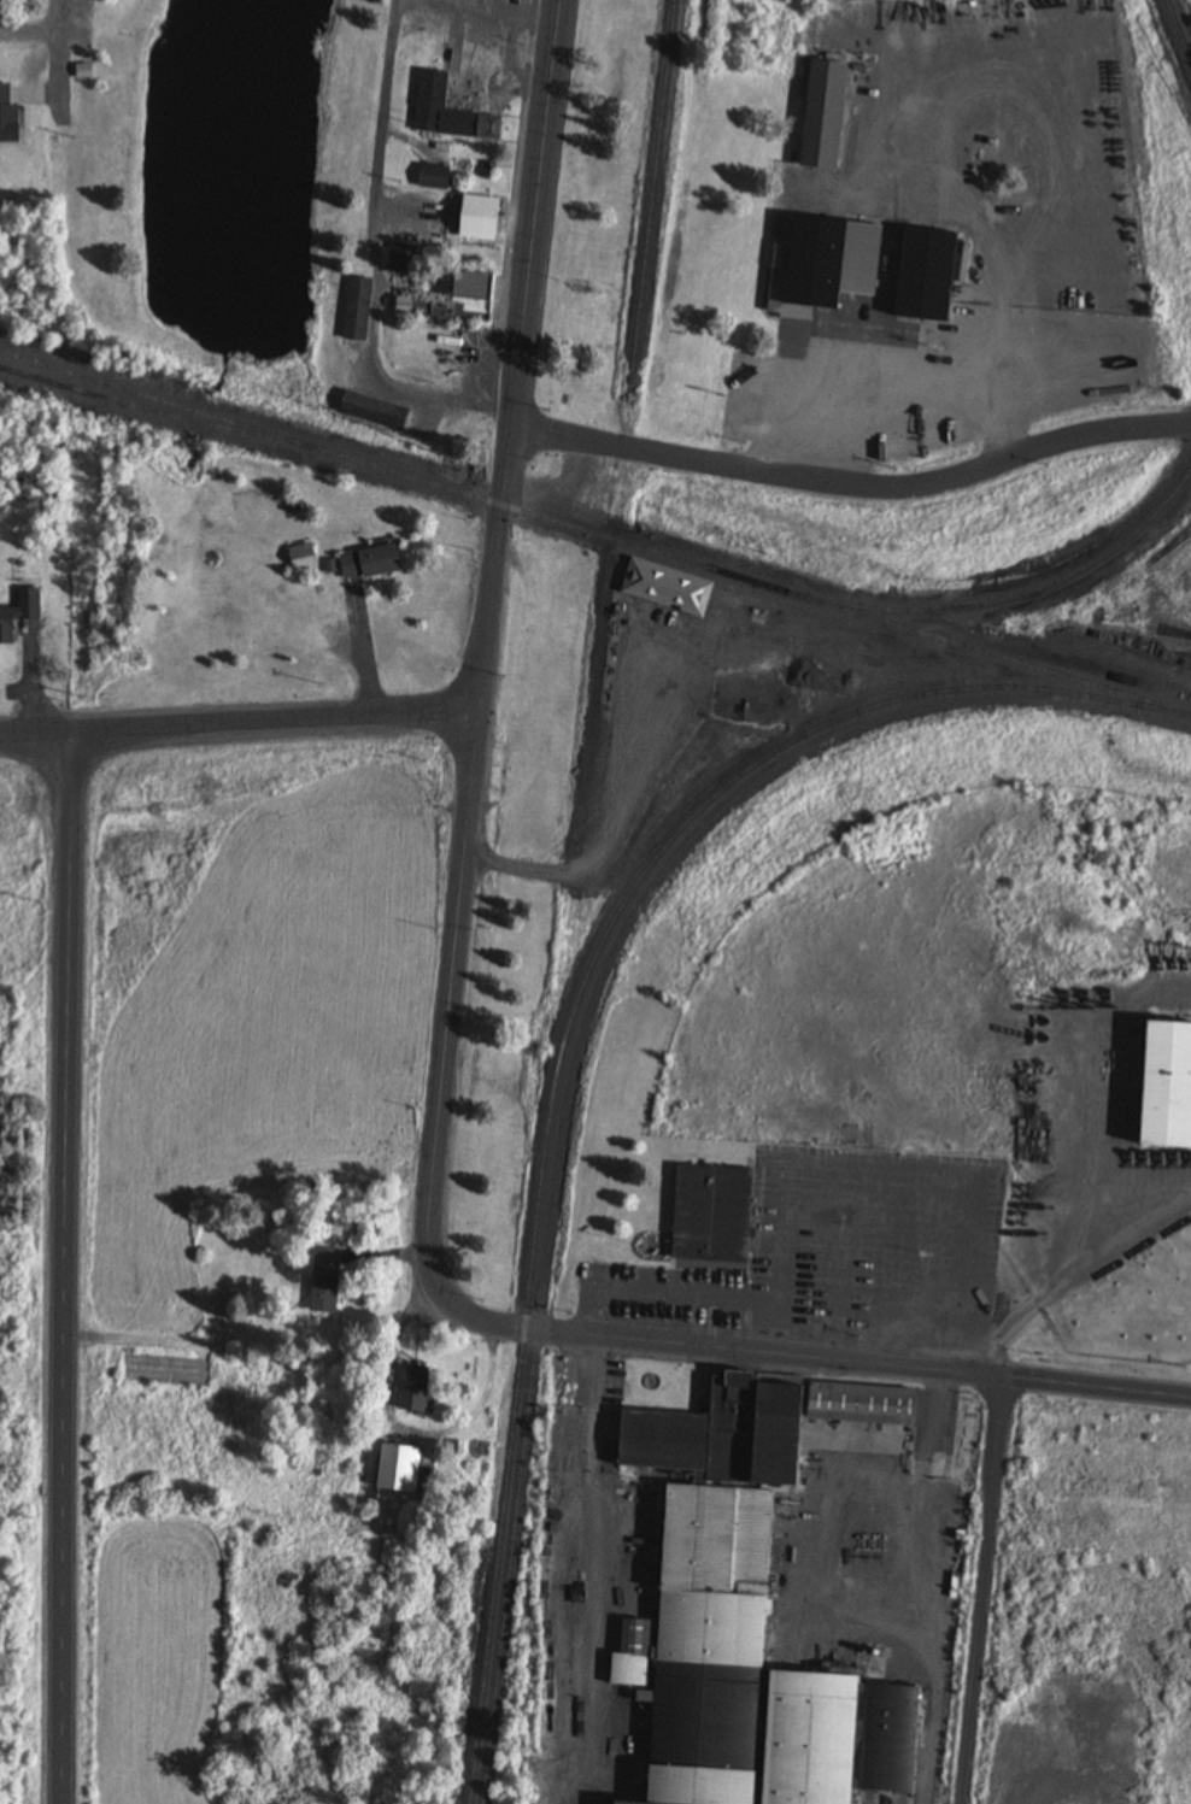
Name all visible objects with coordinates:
parking lot: (77, 29)
railway: (1178, 30)
road: (58, 64)
building: (81, 74)
building: (447, 114)
building: (821, 117)
building: (6, 118)
building: (471, 170)
park: (223, 178)
building: (432, 178)
railway: (652, 188)
building: (475, 218)
road: (376, 262)
building: (821, 268)
building: (457, 301)
building: (354, 311)
road: (518, 354)
building: (358, 409)
railway: (153, 413)
building: (927, 451)
road: (675, 458)
road: (1015, 460)
railway: (594, 534)
building: (300, 559)
building: (368, 564)
building: (663, 586)
railway: (1010, 598)
building: (18, 612)
road: (237, 721)
railway: (756, 764)
road: (616, 817)
road: (450, 981)
building: (1162, 1085)
building: (711, 1215)
road: (66, 1267)
building: (324, 1281)
road: (790, 1355)
building: (407, 1388)
building: (394, 1474)
railway: (508, 1476)
railway: (511, 1559)
road: (990, 1591)
building: (722, 1646)
building: (823, 1744)
building: (612, 1803)

